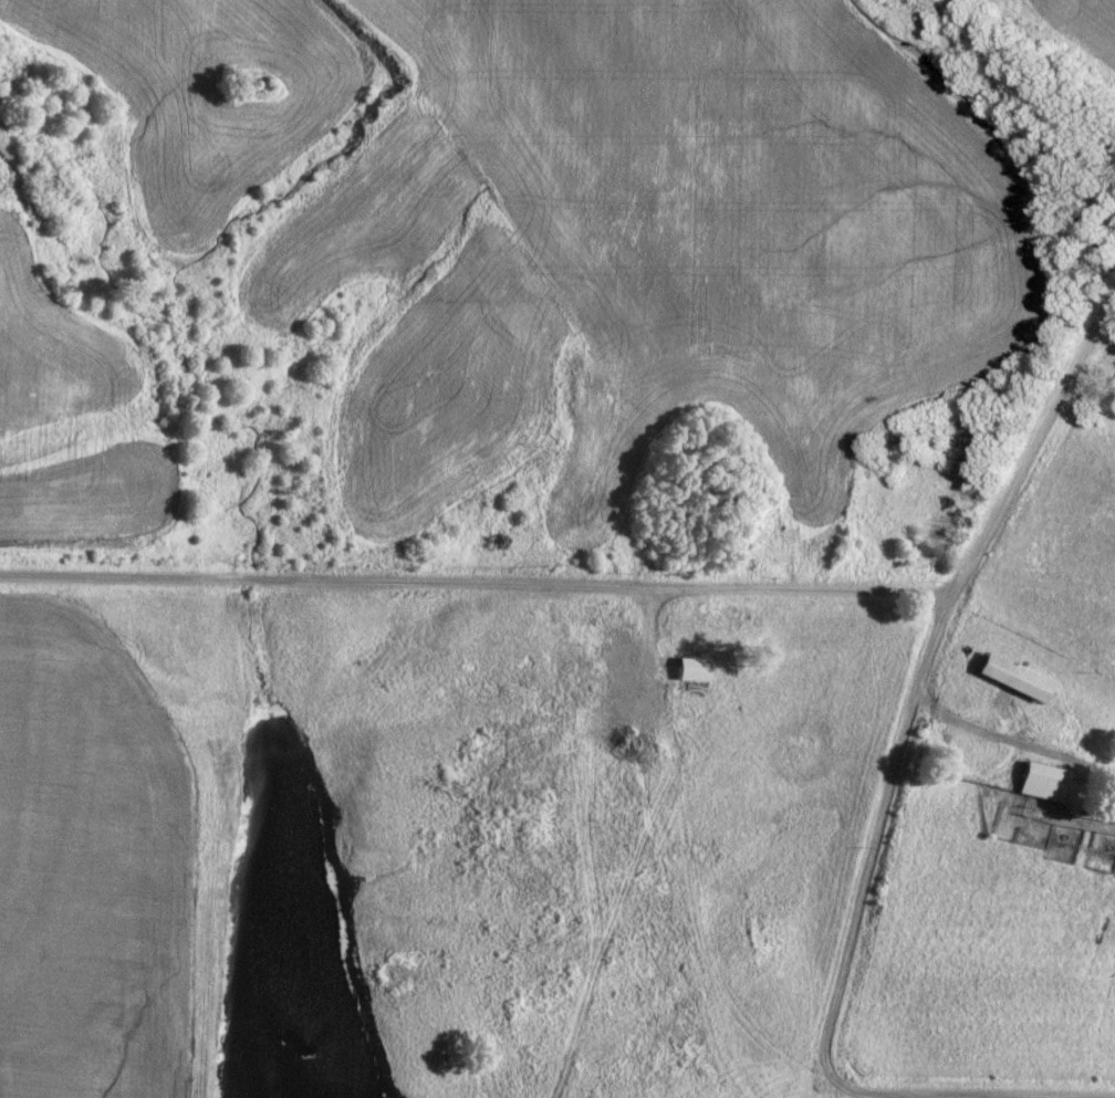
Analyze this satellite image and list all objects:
building: (701, 441)
road: (475, 587)
building: (695, 663)
building: (585, 678)
building: (1012, 678)
road: (913, 690)
road: (1008, 746)
road: (962, 768)
building: (1042, 782)
building: (601, 845)

